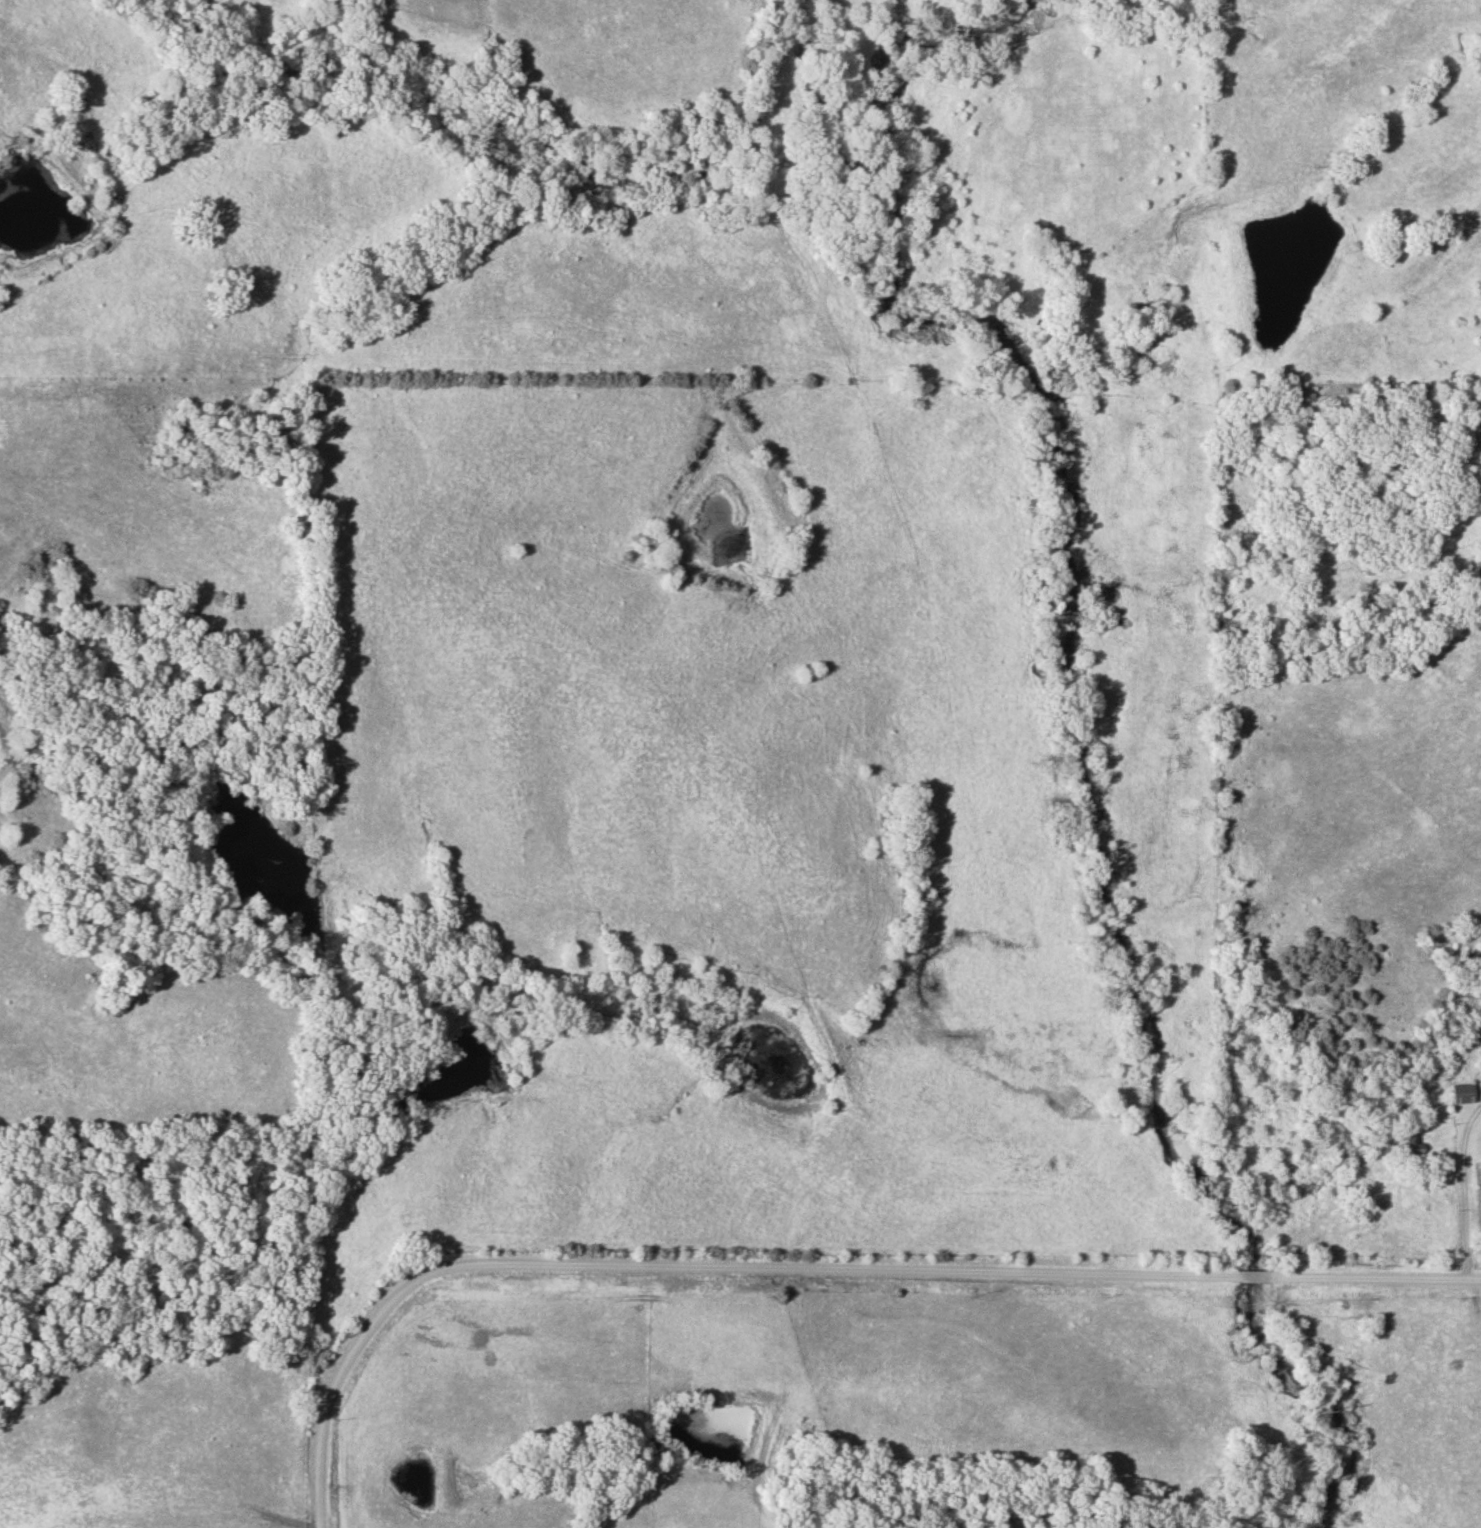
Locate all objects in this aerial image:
building: (1464, 1092)
road: (810, 1270)

